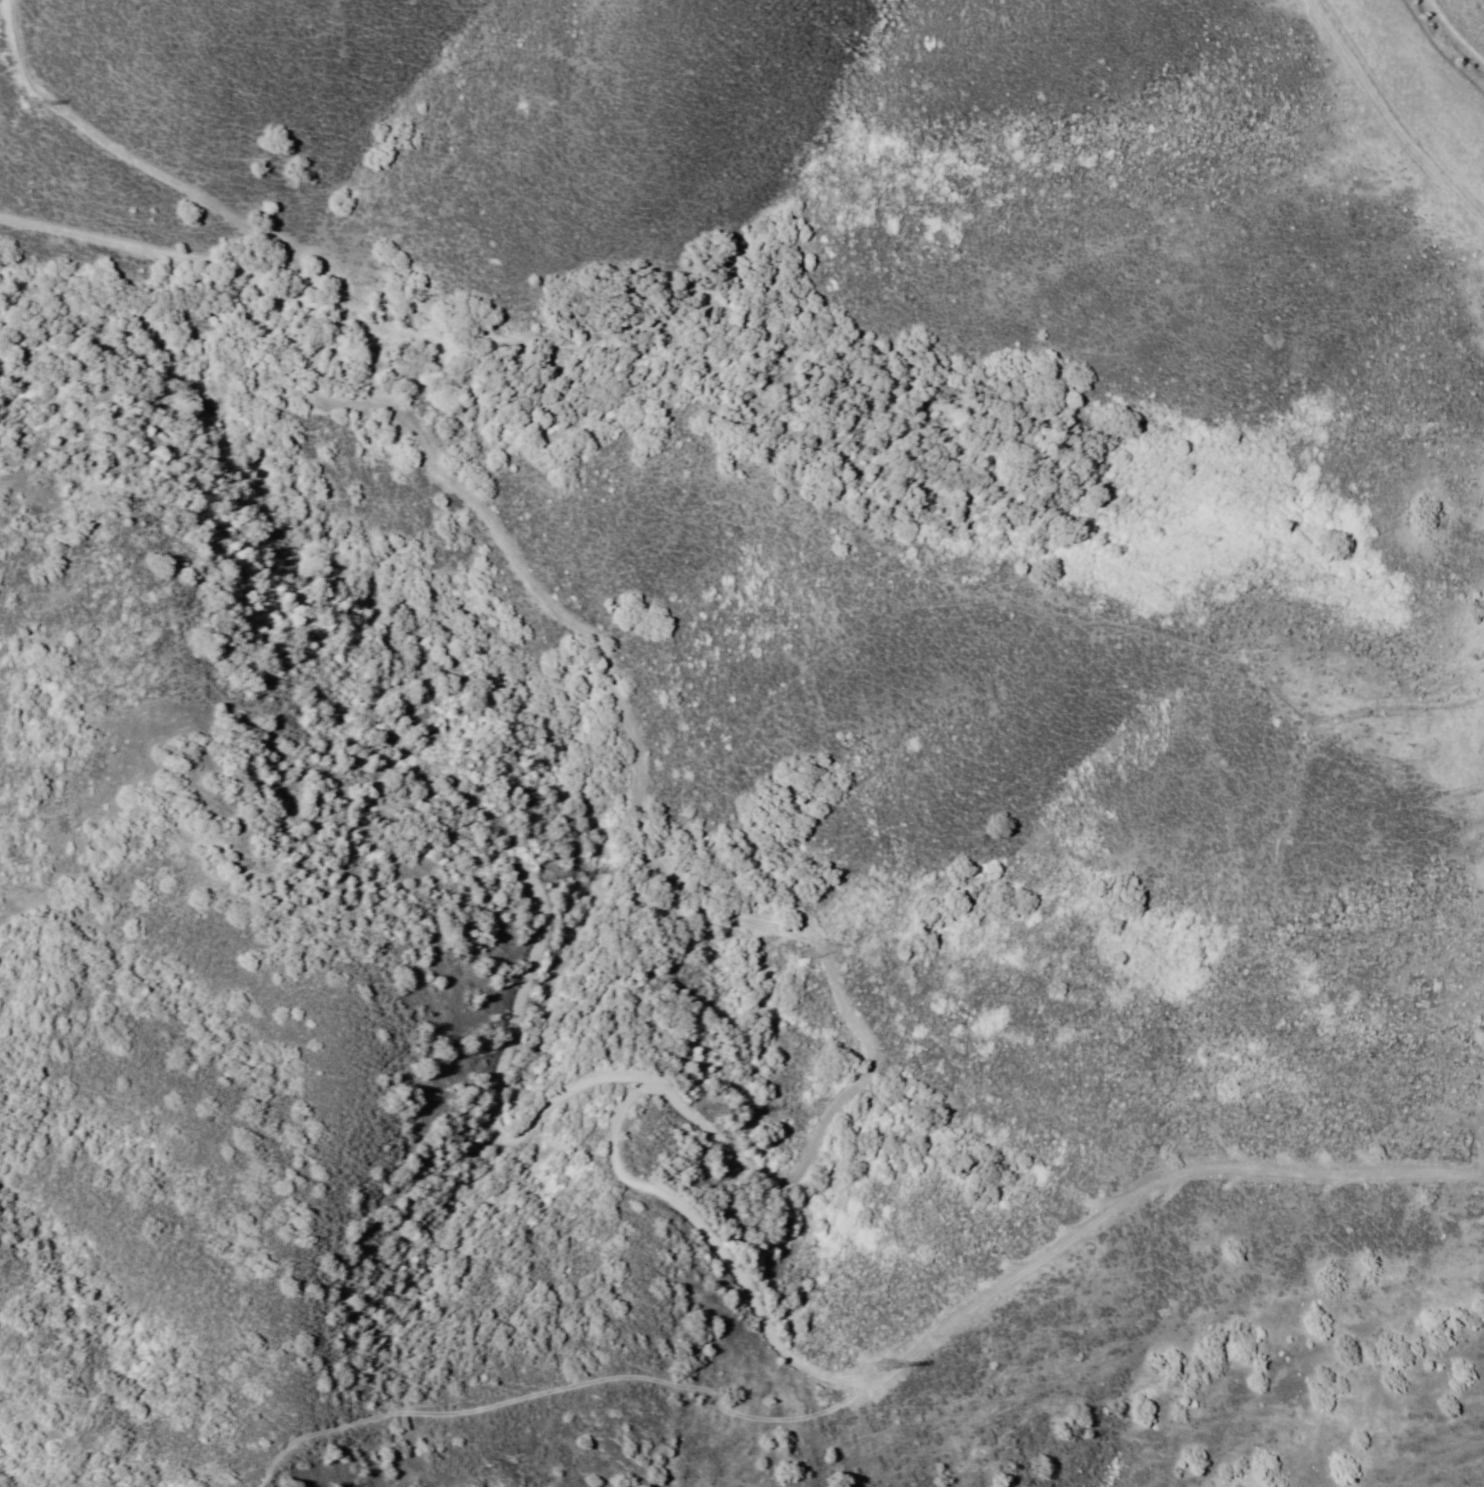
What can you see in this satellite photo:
road: (1450, 49)
road: (884, 1362)

